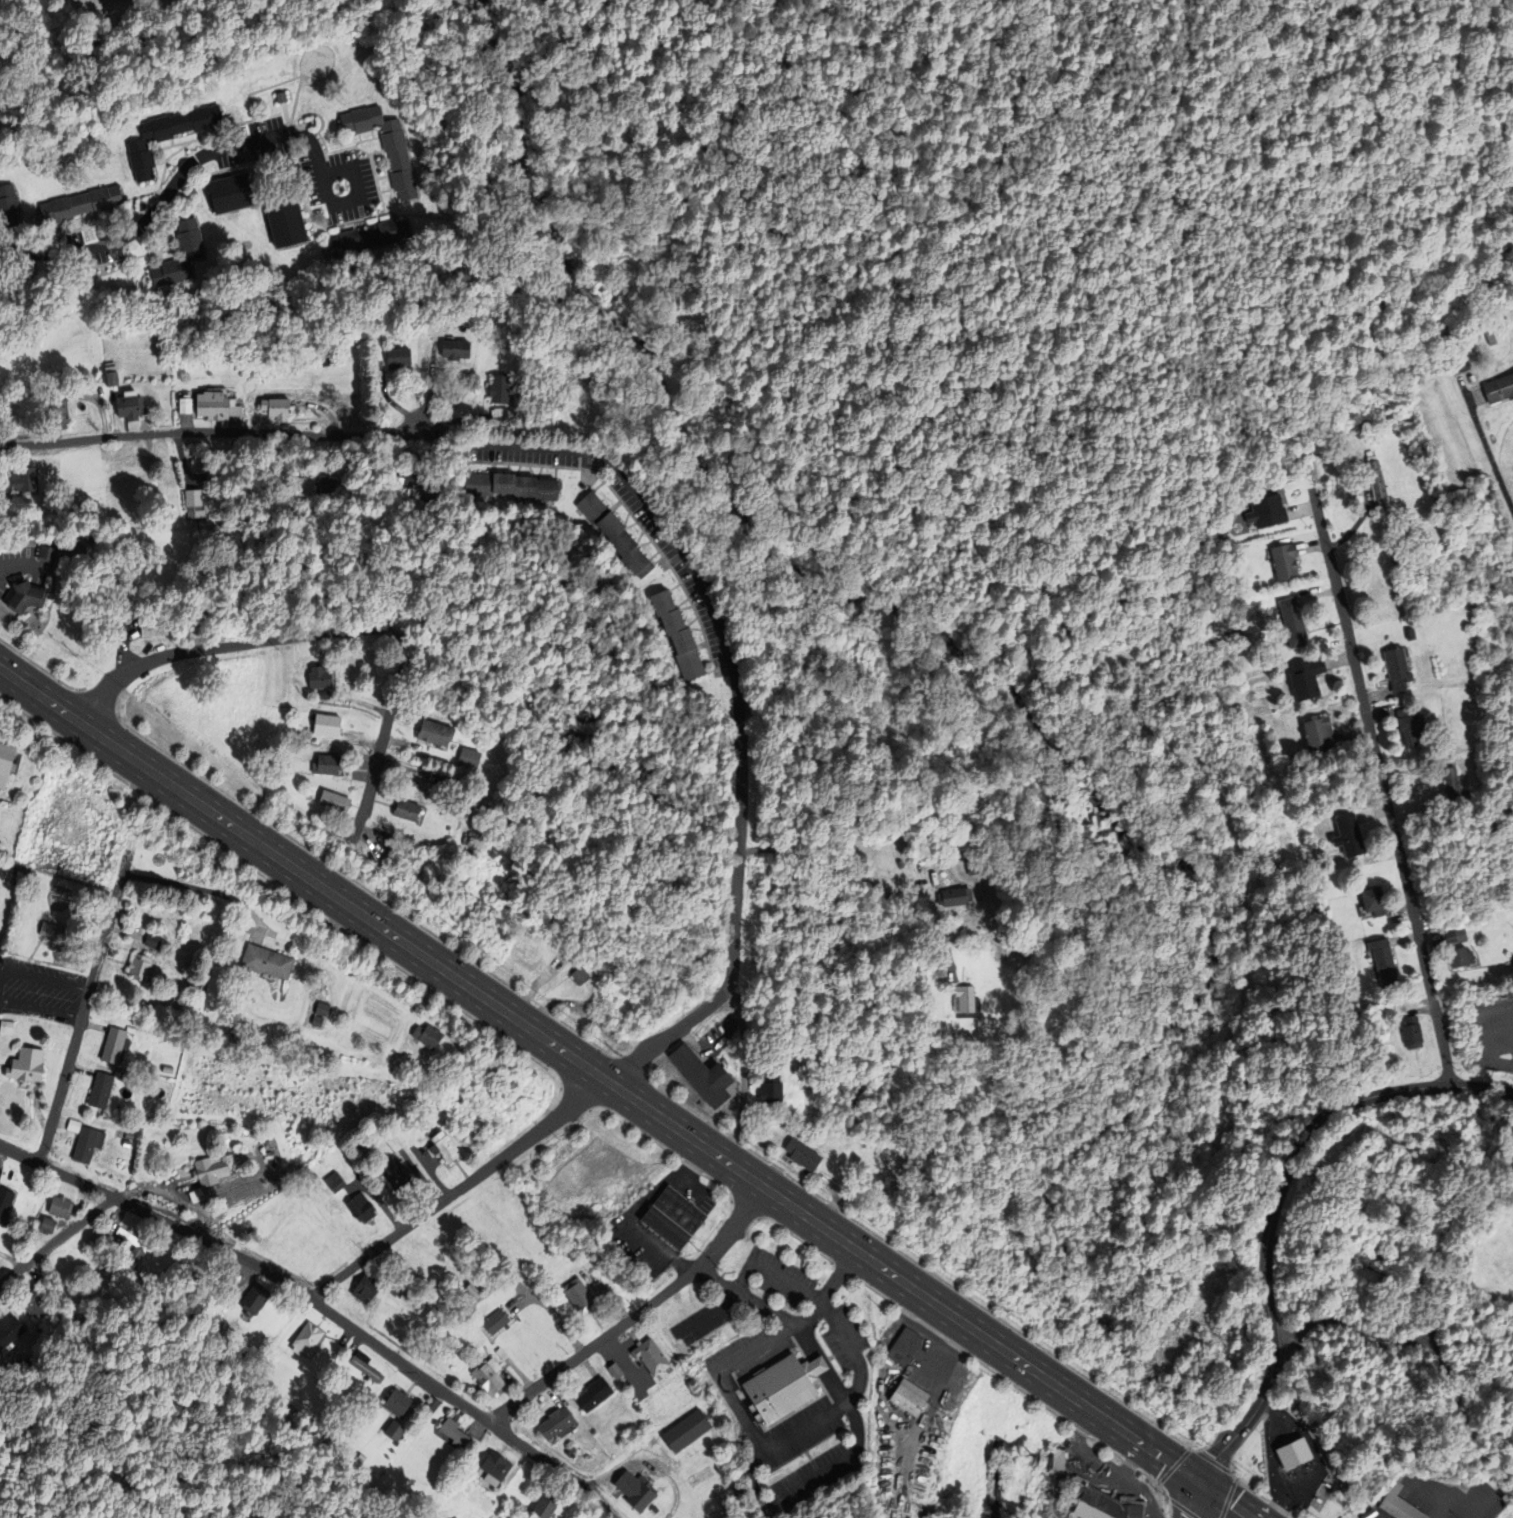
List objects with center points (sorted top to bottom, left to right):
building: (274, 90)
building: (167, 135)
building: (387, 144)
road: (356, 181)
building: (230, 193)
building: (89, 201)
building: (10, 205)
building: (285, 224)
building: (373, 236)
building: (197, 252)
building: (1502, 329)
storage tank: (1502, 329)
building: (1490, 338)
building: (455, 349)
building: (397, 357)
building: (329, 358)
building: (1459, 361)
building: (113, 370)
building: (499, 388)
building: (1498, 388)
building: (132, 405)
building: (186, 405)
building: (218, 405)
building: (278, 406)
building: (60, 414)
road: (213, 433)
road: (1486, 448)
building: (418, 467)
building: (24, 478)
building: (1376, 479)
building: (414, 481)
building: (323, 483)
building: (507, 486)
building: (197, 503)
building: (1267, 512)
building: (614, 533)
building: (52, 551)
building: (44, 554)
building: (1285, 561)
building: (30, 595)
building: (1293, 621)
building: (154, 625)
road: (719, 632)
road: (323, 633)
building: (678, 635)
building: (1397, 670)
building: (318, 677)
building: (1307, 678)
building: (324, 695)
building: (326, 726)
building: (1409, 726)
building: (435, 733)
building: (1321, 736)
building: (469, 758)
building: (6, 762)
building: (327, 765)
building: (1454, 786)
road: (1383, 788)
building: (334, 802)
building: (406, 810)
building: (1349, 836)
building: (464, 838)
building: (910, 845)
building: (900, 864)
building: (971, 865)
building: (20, 875)
road: (859, 879)
road: (176, 884)
road: (288, 893)
building: (953, 898)
building: (1373, 901)
road: (254, 915)
building: (54, 930)
building: (1454, 937)
building: (156, 941)
building: (526, 950)
building: (1460, 957)
building: (270, 961)
building: (1384, 964)
building: (144, 967)
parking lot: (29, 973)
building: (580, 974)
road: (41, 979)
building: (1347, 985)
building: (200, 987)
building: (964, 998)
road: (85, 1002)
parking lot: (73, 1007)
road: (40, 1008)
building: (325, 1009)
building: (316, 1020)
building: (9, 1027)
building: (1411, 1032)
building: (426, 1035)
road: (668, 1039)
building: (116, 1044)
parking lot: (19, 1048)
building: (31, 1066)
building: (703, 1074)
crop: (284, 1088)
building: (771, 1088)
building: (103, 1089)
road: (625, 1093)
building: (75, 1124)
building: (130, 1135)
road: (646, 1136)
building: (90, 1142)
building: (443, 1146)
building: (802, 1154)
parking lot: (689, 1164)
road: (693, 1165)
building: (214, 1169)
building: (396, 1175)
parking lot: (701, 1178)
building: (333, 1181)
road: (682, 1183)
parking lot: (680, 1184)
road: (458, 1189)
road: (725, 1190)
parking lot: (710, 1199)
building: (7, 1201)
building: (64, 1205)
building: (360, 1207)
road: (1274, 1209)
road: (155, 1216)
building: (672, 1216)
building: (52, 1224)
building: (44, 1225)
road: (629, 1225)
building: (108, 1233)
road: (794, 1237)
building: (93, 1240)
road: (56, 1242)
building: (134, 1242)
building: (12, 1246)
parking lot: (830, 1257)
crop: (1492, 1262)
parking lot: (840, 1274)
building: (46, 1283)
road: (791, 1284)
building: (366, 1286)
building: (439, 1289)
road: (827, 1289)
road: (873, 1290)
building: (393, 1292)
building: (470, 1293)
building: (578, 1295)
building: (254, 1297)
building: (403, 1298)
road: (609, 1298)
parking lot: (776, 1298)
parking lot: (776, 1298)
parking lot: (834, 1300)
building: (38, 1301)
road: (552, 1312)
road: (636, 1314)
parking lot: (913, 1317)
parking lot: (906, 1318)
building: (495, 1321)
parking lot: (918, 1322)
road: (915, 1326)
building: (43, 1328)
road: (930, 1329)
building: (12, 1330)
parking lot: (941, 1337)
road: (1415, 1337)
building: (306, 1340)
parking lot: (914, 1343)
parking lot: (955, 1343)
parking lot: (823, 1346)
parking lot: (823, 1346)
building: (904, 1346)
building: (43, 1348)
parking lot: (959, 1350)
building: (239, 1351)
parking lot: (830, 1351)
building: (501, 1353)
building: (650, 1356)
road: (830, 1357)
parking lot: (855, 1360)
road: (623, 1362)
road: (947, 1364)
building: (28, 1366)
building: (365, 1366)
parking lot: (732, 1366)
building: (614, 1370)
parking lot: (903, 1370)
road: (714, 1373)
building: (488, 1375)
road: (520, 1375)
road: (513, 1382)
parking lot: (942, 1385)
road: (740, 1386)
building: (783, 1386)
road: (1017, 1387)
parking lot: (780, 1388)
parking lot: (780, 1388)
parking lot: (800, 1389)
parking lot: (920, 1390)
road: (447, 1394)
building: (593, 1394)
road: (551, 1395)
building: (909, 1396)
parking lot: (927, 1401)
building: (397, 1403)
building: (432, 1405)
building: (356, 1411)
building: (556, 1423)
parking lot: (1080, 1429)
building: (394, 1430)
building: (686, 1430)
building: (453, 1432)
road: (917, 1444)
road: (1107, 1448)
road: (854, 1449)
building: (569, 1452)
parking lot: (1104, 1452)
parking lot: (806, 1454)
road: (808, 1454)
building: (1295, 1454)
parking lot: (803, 1457)
parking lot: (803, 1457)
building: (1063, 1458)
parking lot: (862, 1460)
road: (1132, 1460)
parking lot: (1079, 1461)
parking lot: (1131, 1464)
road: (1105, 1465)
building: (494, 1467)
parking lot: (1135, 1475)
road: (1238, 1480)
traffic signals: (1197, 1481)
road: (1160, 1486)
building: (635, 1490)
parking lot: (1148, 1491)
parking lot: (793, 1495)
road: (1455, 1496)
parking lot: (1444, 1498)
road: (1188, 1499)
building: (1098, 1502)
building: (546, 1504)
building: (1398, 1504)
parking lot: (1124, 1507)
parking lot: (1164, 1514)
road: (1290, 1515)

